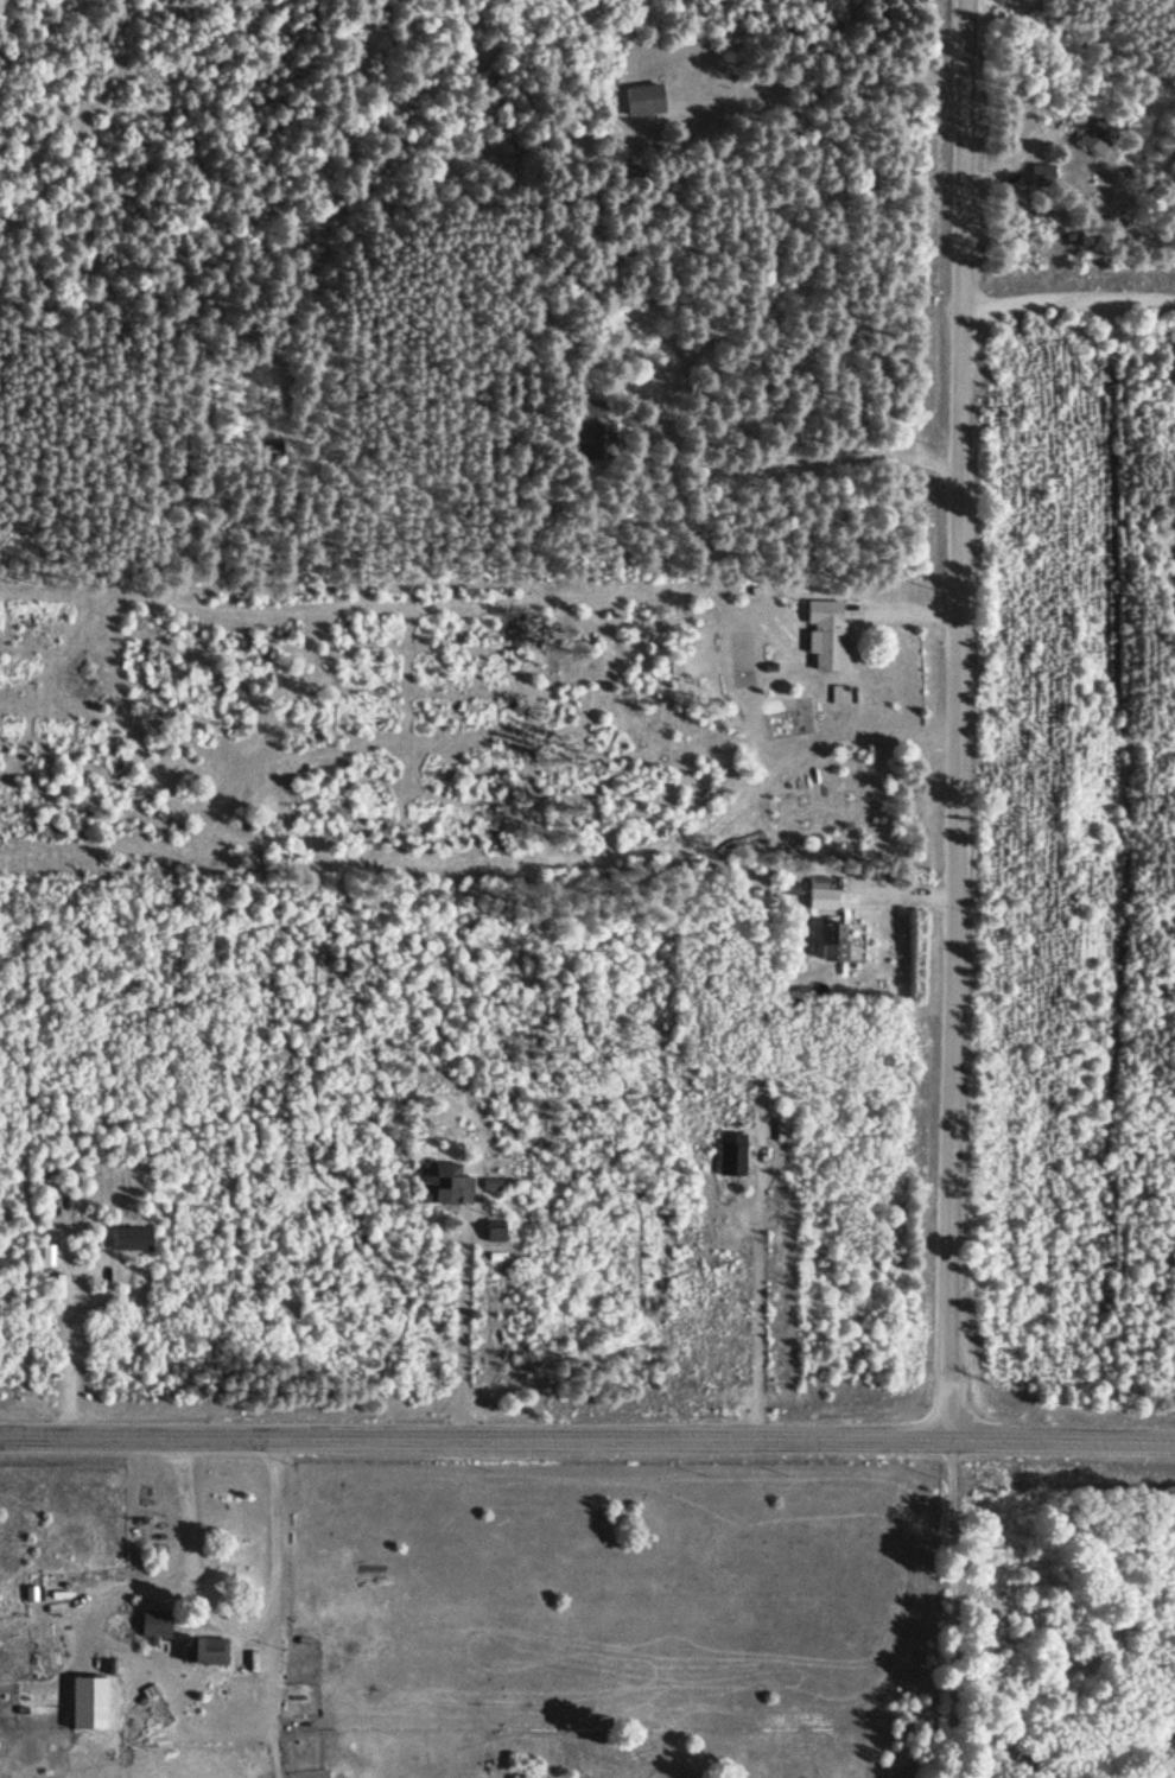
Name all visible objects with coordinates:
building: (642, 97)
building: (1094, 136)
building: (1040, 176)
road: (1067, 305)
building: (596, 431)
building: (274, 449)
building: (824, 633)
road: (955, 720)
building: (820, 893)
building: (828, 940)
building: (440, 1181)
road: (587, 1440)
road: (948, 1609)
building: (152, 1623)
building: (202, 1649)

